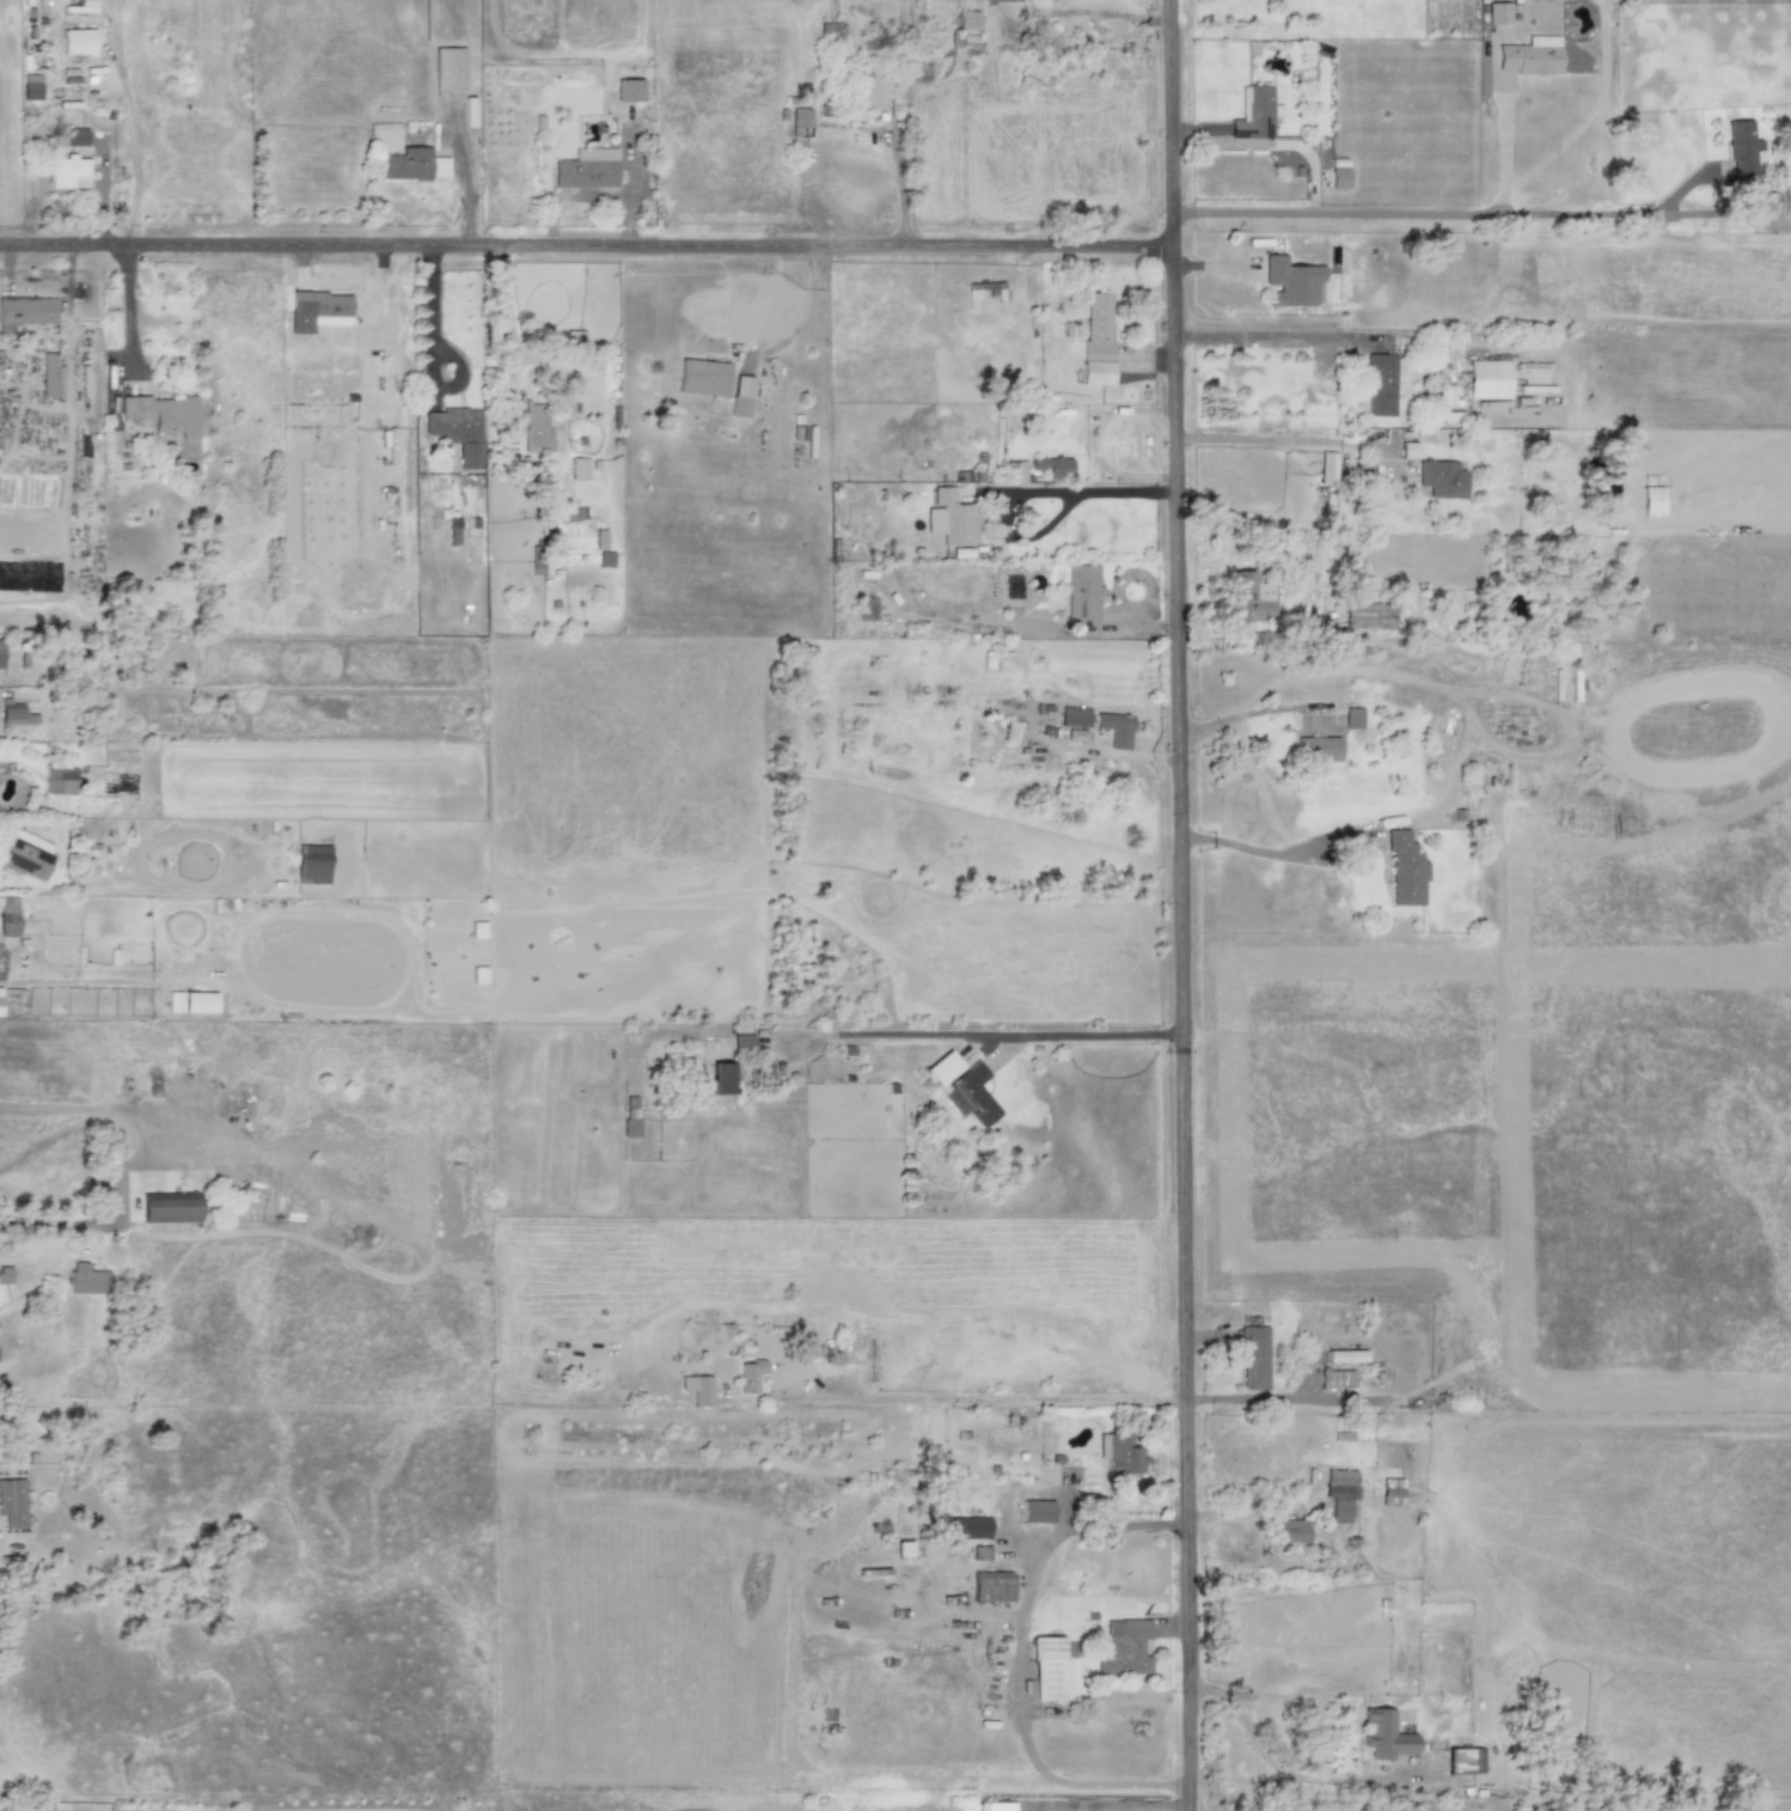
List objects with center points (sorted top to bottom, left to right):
building: (1005, 0)
building: (54, 1)
building: (1497, 13)
road: (1111, 14)
building: (967, 20)
building: (77, 41)
building: (1529, 56)
building: (448, 69)
building: (30, 86)
building: (870, 92)
building: (469, 111)
building: (1253, 112)
building: (800, 117)
building: (75, 138)
road: (130, 146)
road: (1502, 146)
building: (1741, 147)
building: (411, 164)
building: (586, 169)
building: (67, 172)
building: (1338, 177)
road: (897, 187)
building: (1767, 201)
road: (1437, 213)
road: (587, 246)
building: (1290, 282)
building: (322, 307)
building: (27, 310)
road: (127, 310)
road: (508, 313)
road: (1269, 337)
building: (1096, 341)
road: (432, 354)
building: (50, 376)
building: (702, 378)
building: (1489, 378)
building: (1380, 384)
building: (1445, 395)
building: (741, 396)
building: (163, 414)
building: (536, 426)
building: (456, 432)
road: (1282, 441)
building: (1408, 450)
building: (1052, 467)
building: (579, 469)
building: (1015, 471)
building: (1441, 478)
road: (1033, 492)
building: (1651, 501)
building: (950, 518)
building: (598, 538)
building: (605, 559)
building: (1081, 597)
building: (1252, 598)
building: (1368, 616)
building: (0, 653)
building: (996, 660)
building: (10, 713)
building: (1074, 717)
building: (1352, 718)
building: (1114, 728)
building: (1010, 731)
building: (1316, 749)
building: (60, 779)
road: (1273, 852)
building: (24, 853)
building: (312, 864)
building: (1404, 868)
road: (1182, 904)
building: (8, 916)
building: (477, 929)
building: (478, 975)
building: (0, 996)
building: (191, 1001)
road: (989, 1035)
building: (741, 1043)
building: (942, 1068)
building: (721, 1079)
building: (970, 1096)
building: (629, 1128)
road: (124, 1160)
building: (169, 1207)
building: (5, 1275)
building: (86, 1279)
building: (1253, 1356)
building: (1345, 1356)
building: (751, 1377)
building: (1335, 1378)
building: (697, 1390)
road: (1199, 1398)
road: (1295, 1398)
road: (971, 1400)
building: (1118, 1453)
building: (1390, 1493)
building: (1339, 1494)
building: (12, 1502)
building: (1037, 1511)
road: (1125, 1525)
building: (967, 1528)
building: (1291, 1531)
building: (903, 1549)
building: (979, 1553)
building: (990, 1586)
building: (1124, 1647)
building: (1047, 1669)
road: (1104, 1701)
road: (1019, 1721)
building: (1384, 1734)
building: (1465, 1761)
road: (1270, 1762)
building: (995, 1806)
building: (114, 1809)

